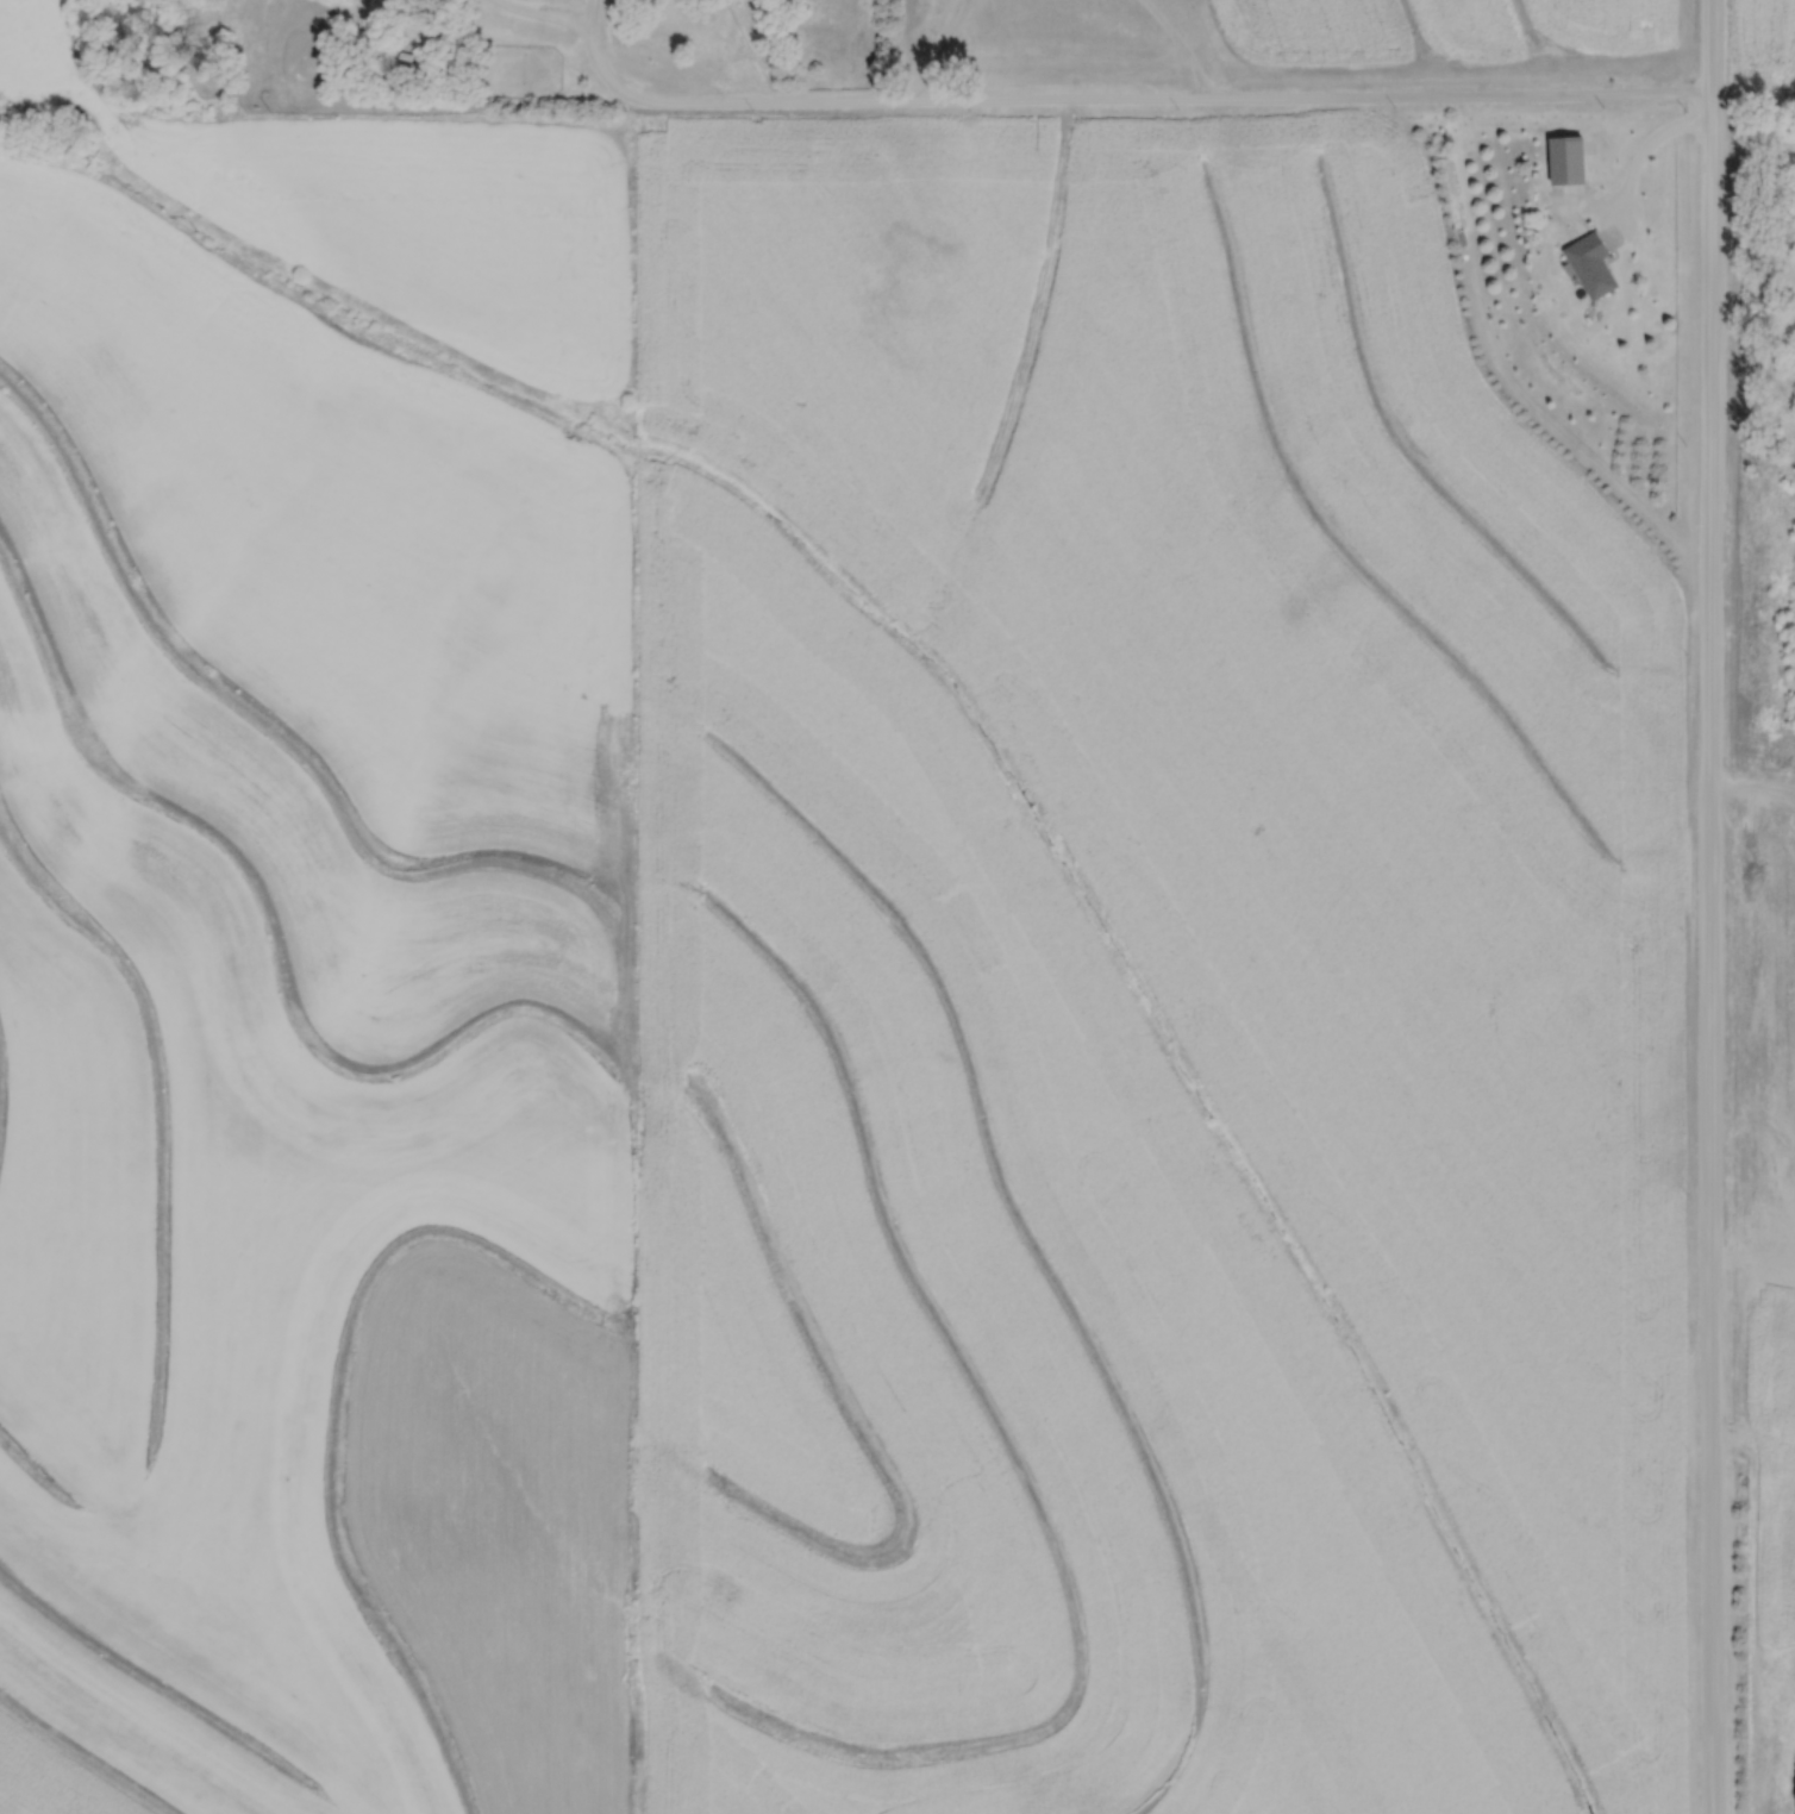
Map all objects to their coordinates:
road: (1111, 102)
road: (1640, 158)
building: (1564, 162)
building: (1590, 268)
road: (1708, 907)

